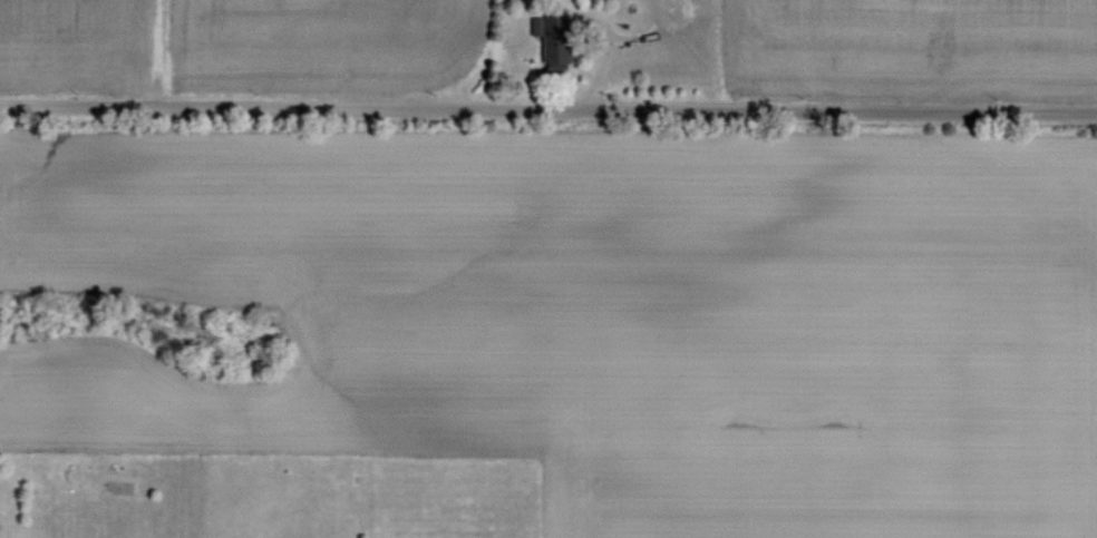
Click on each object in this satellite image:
building: (550, 38)
road: (548, 108)

